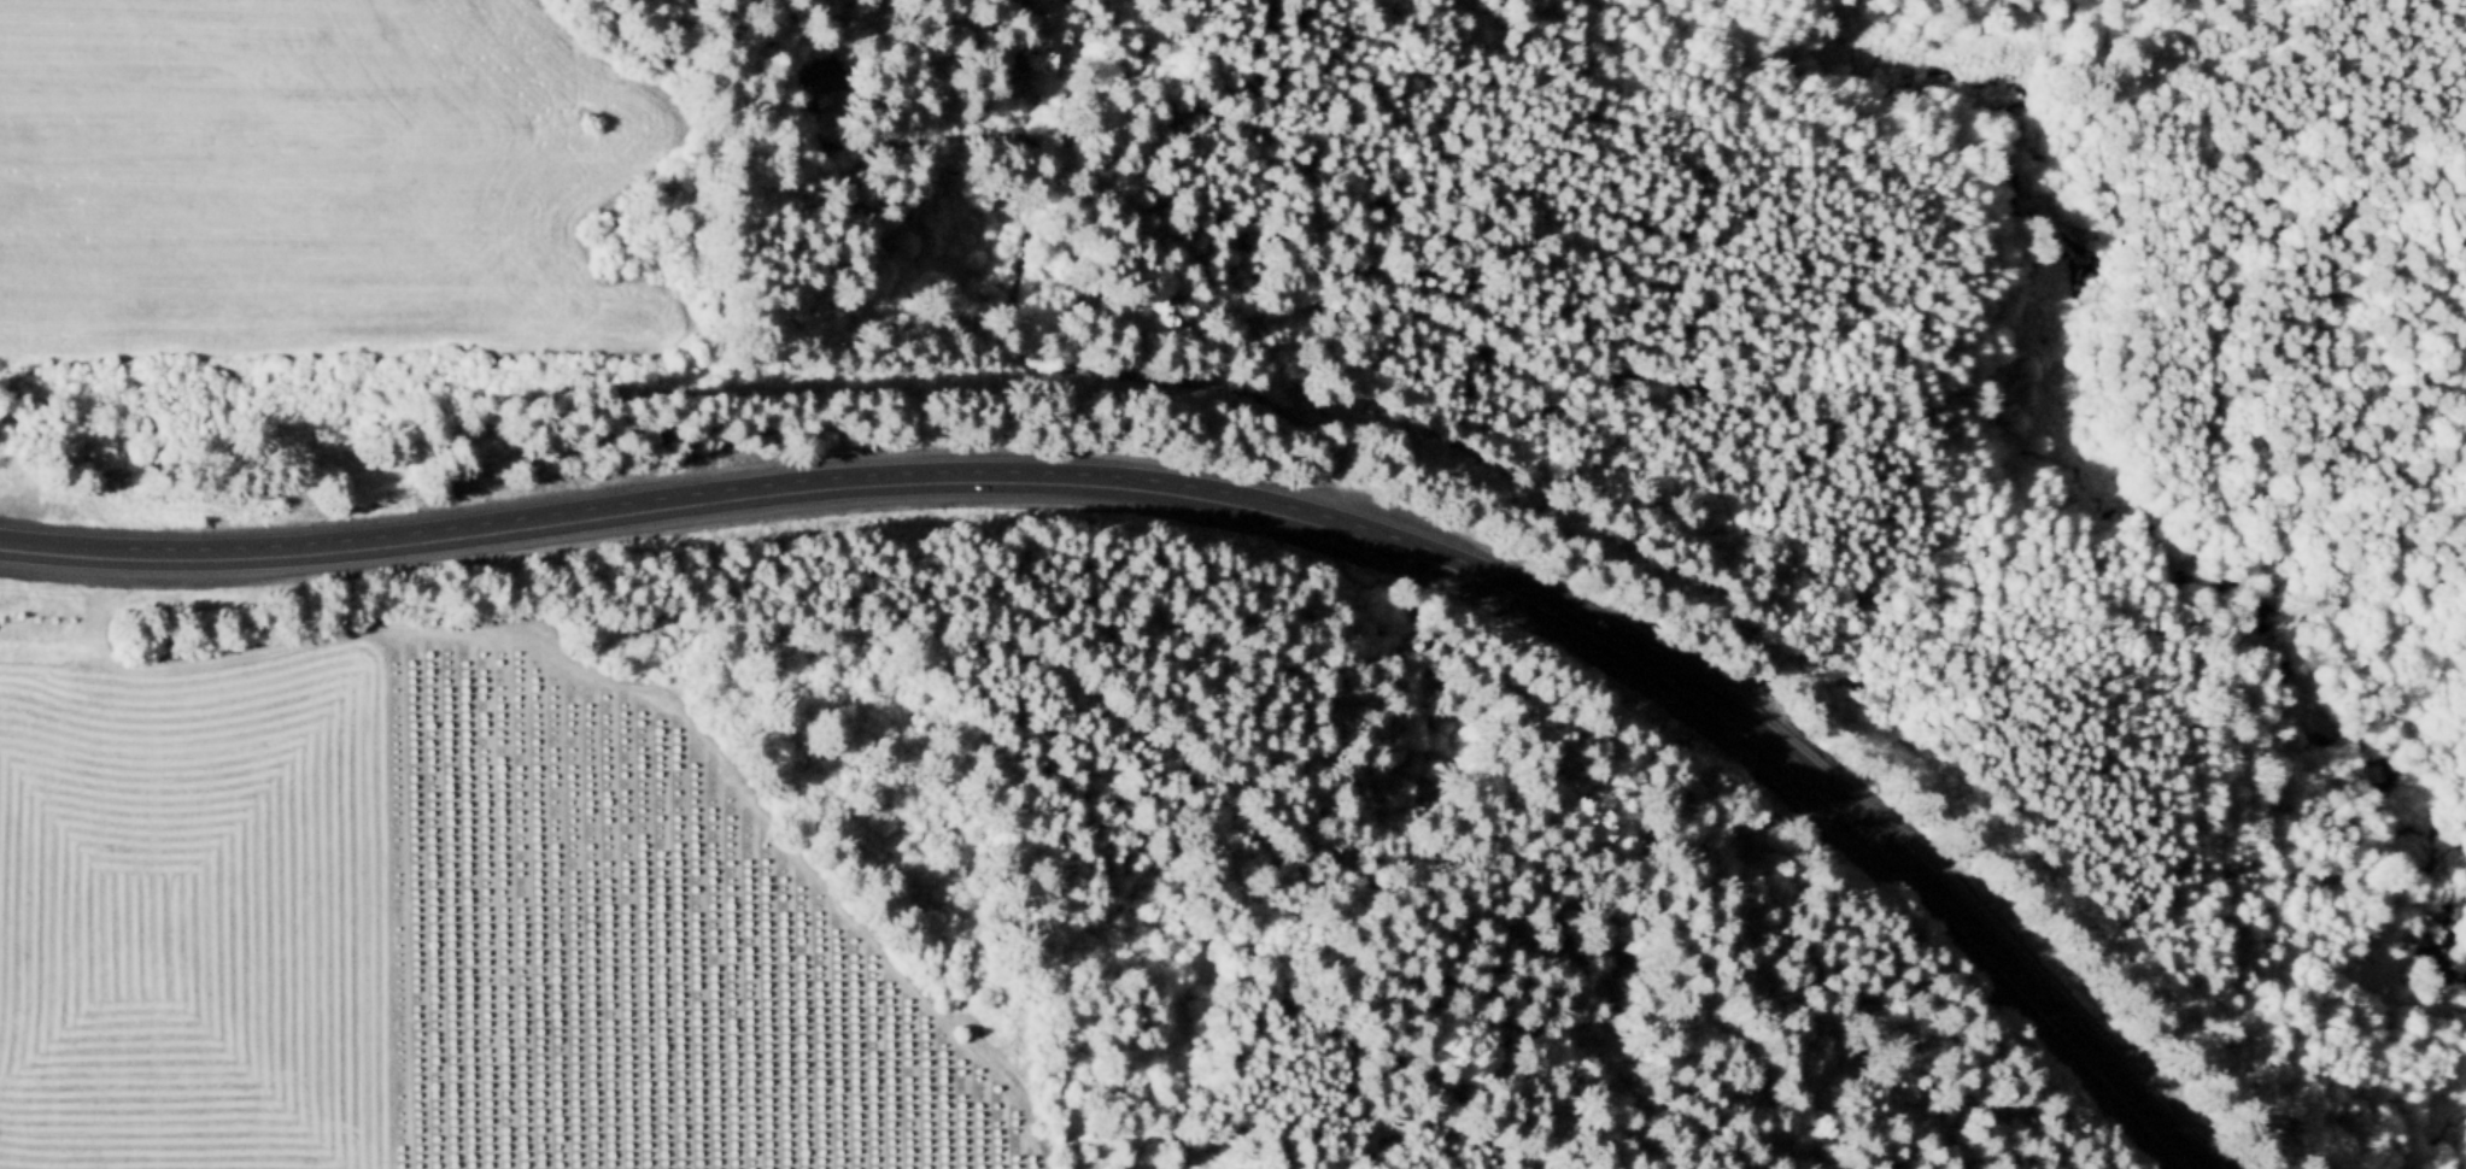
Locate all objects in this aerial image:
building: (810, 76)
crop: (309, 177)
road: (2333, 262)
road: (1017, 316)
road: (1208, 499)
road: (591, 670)
crop: (430, 935)

